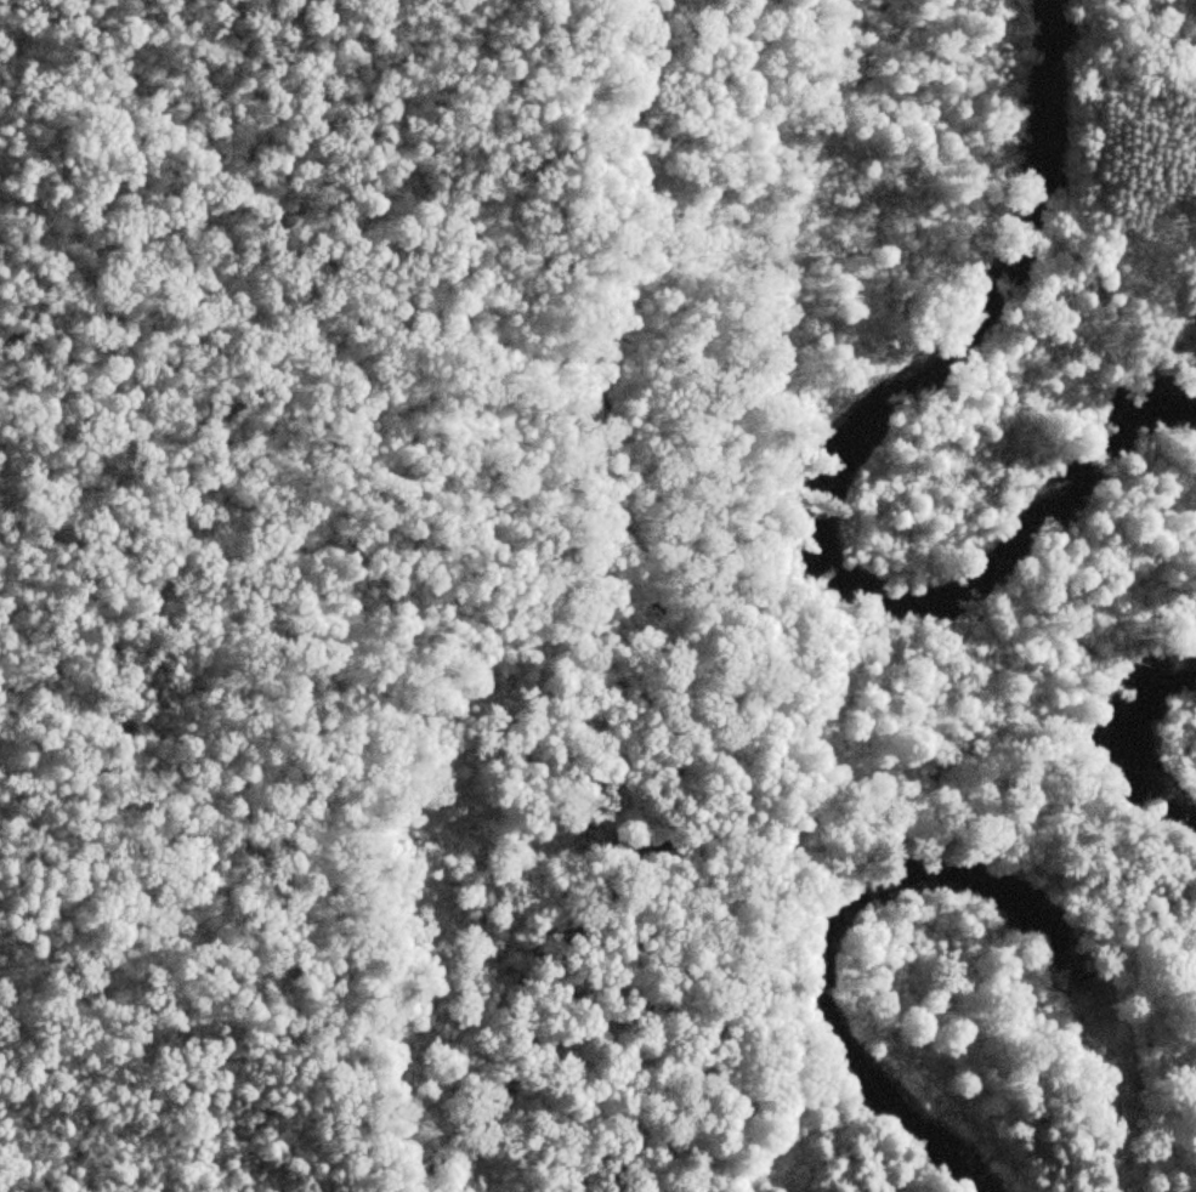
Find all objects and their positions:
road: (1180, 319)
river: (823, 473)
river: (1128, 734)

